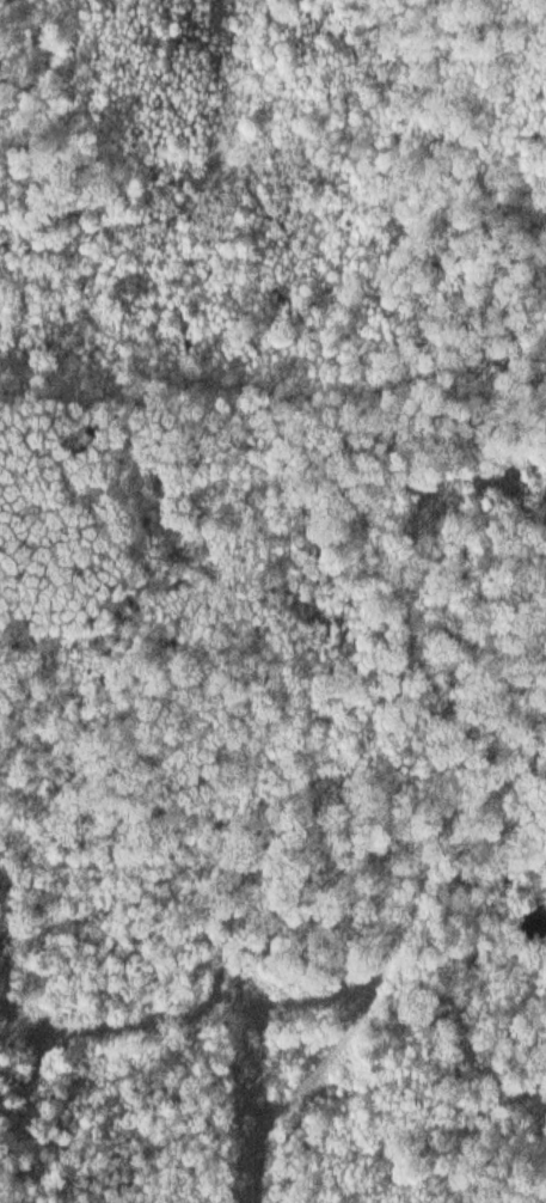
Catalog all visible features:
road: (264, 1118)
road: (24, 1146)

